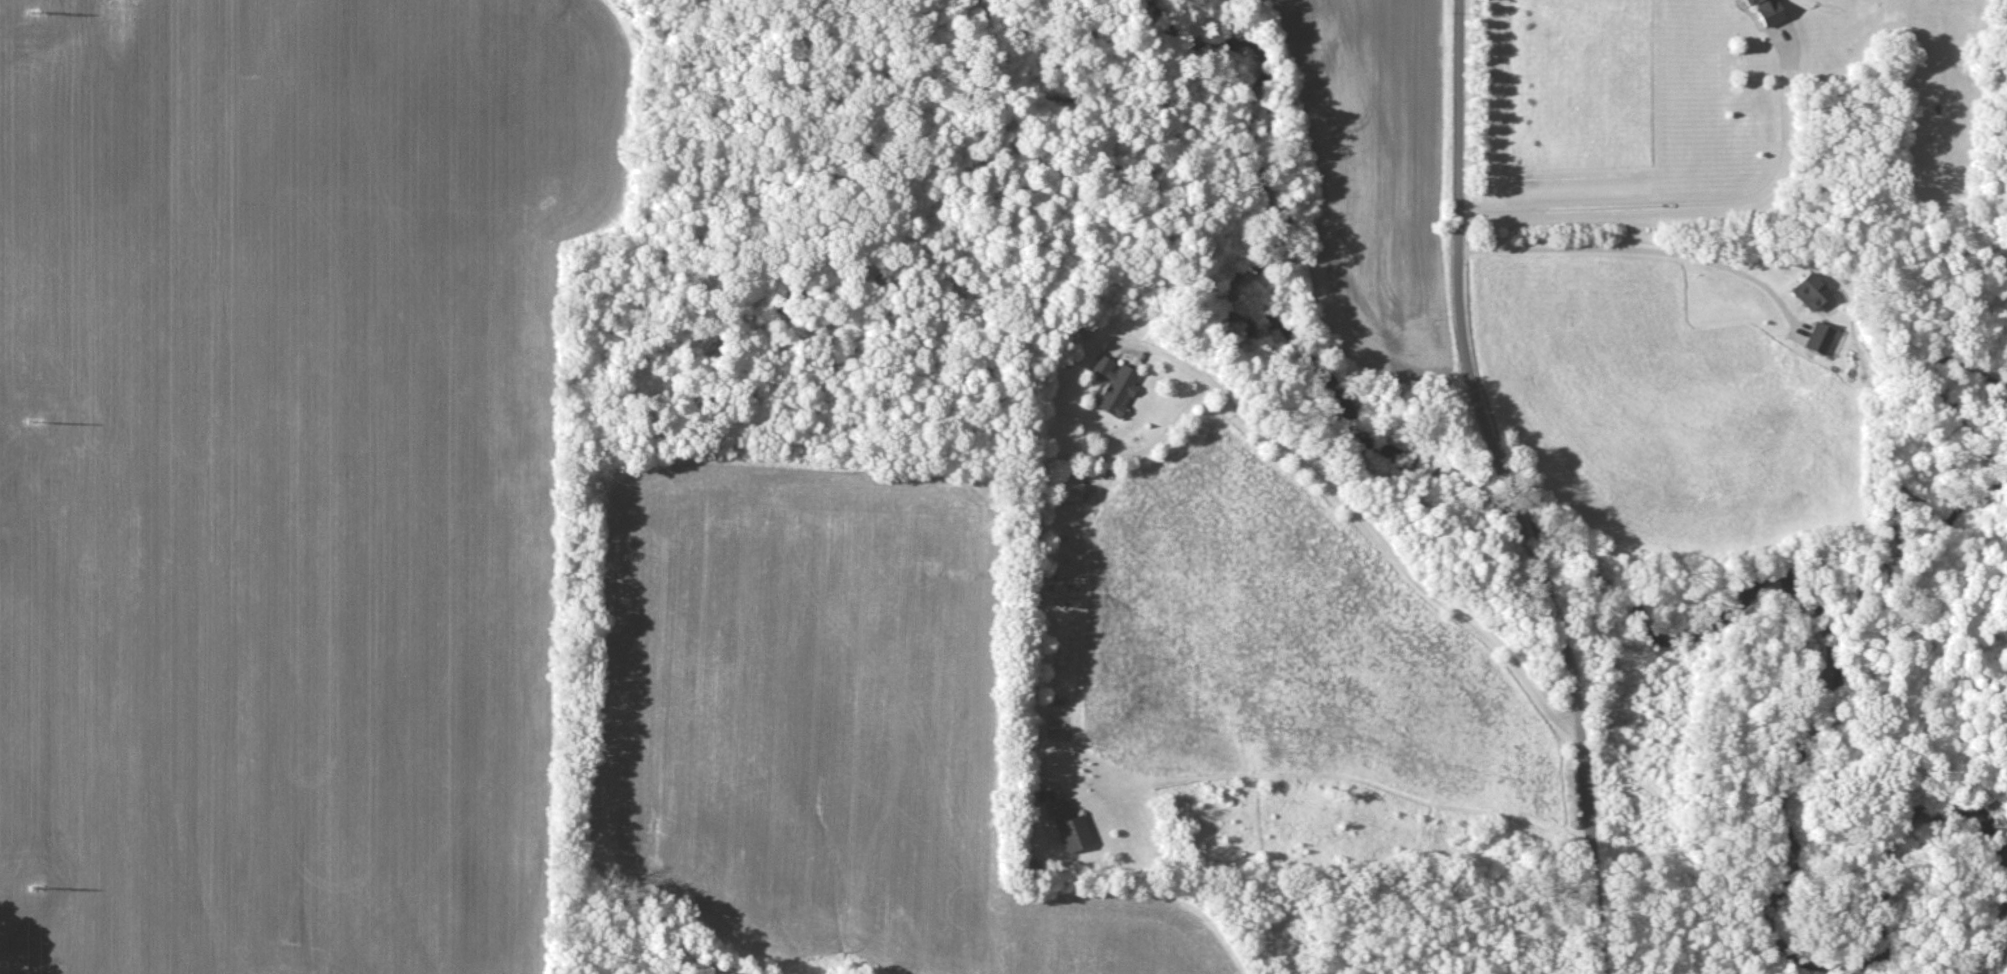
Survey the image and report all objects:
building: (1769, 11)
power tower: (35, 13)
road: (1692, 213)
road: (1622, 259)
building: (1821, 337)
building: (1116, 384)
power tower: (39, 421)
building: (1071, 489)
road: (1509, 489)
road: (1356, 513)
road: (1031, 522)
building: (1069, 825)
road: (1708, 875)
power tower: (39, 886)

